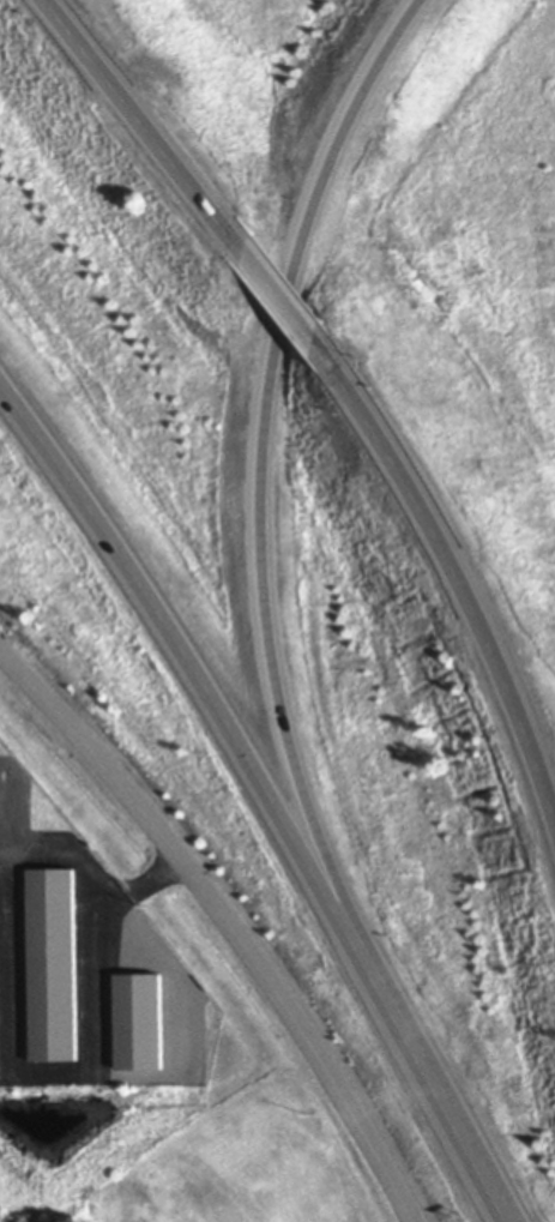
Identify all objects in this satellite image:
road: (155, 125)
road: (290, 297)
road: (269, 465)
road: (458, 558)
road: (189, 660)
road: (228, 920)
road: (95, 931)
building: (55, 962)
building: (141, 1022)
road: (430, 1086)

